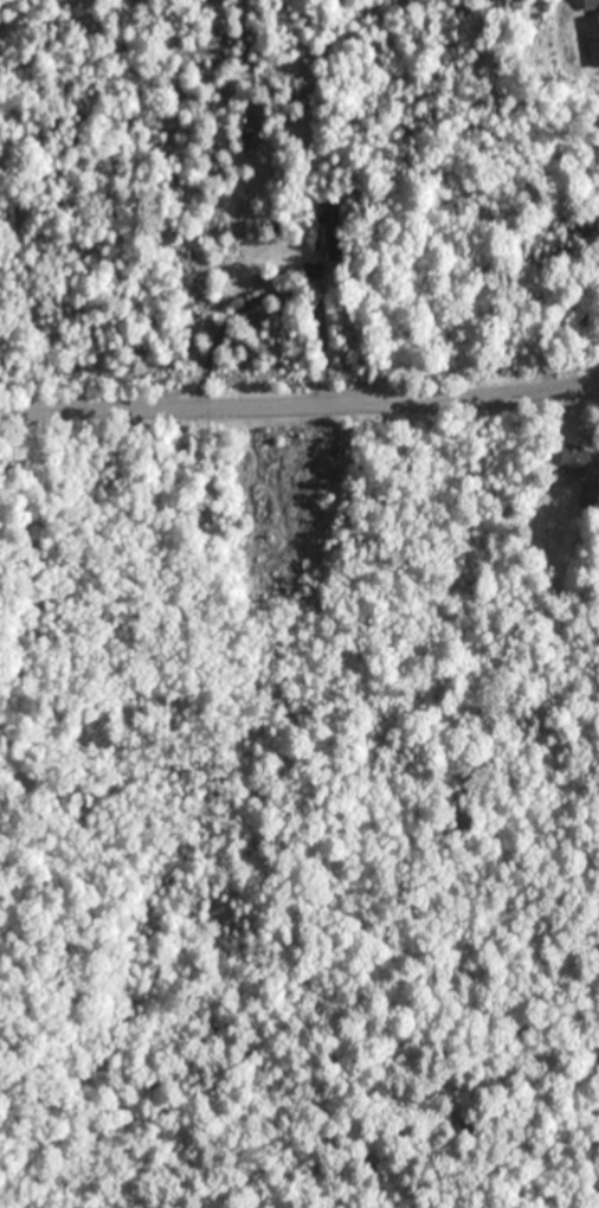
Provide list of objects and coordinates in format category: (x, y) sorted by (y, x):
building: (592, 28)
building: (333, 232)
road: (275, 289)
road: (299, 407)
building: (573, 458)

